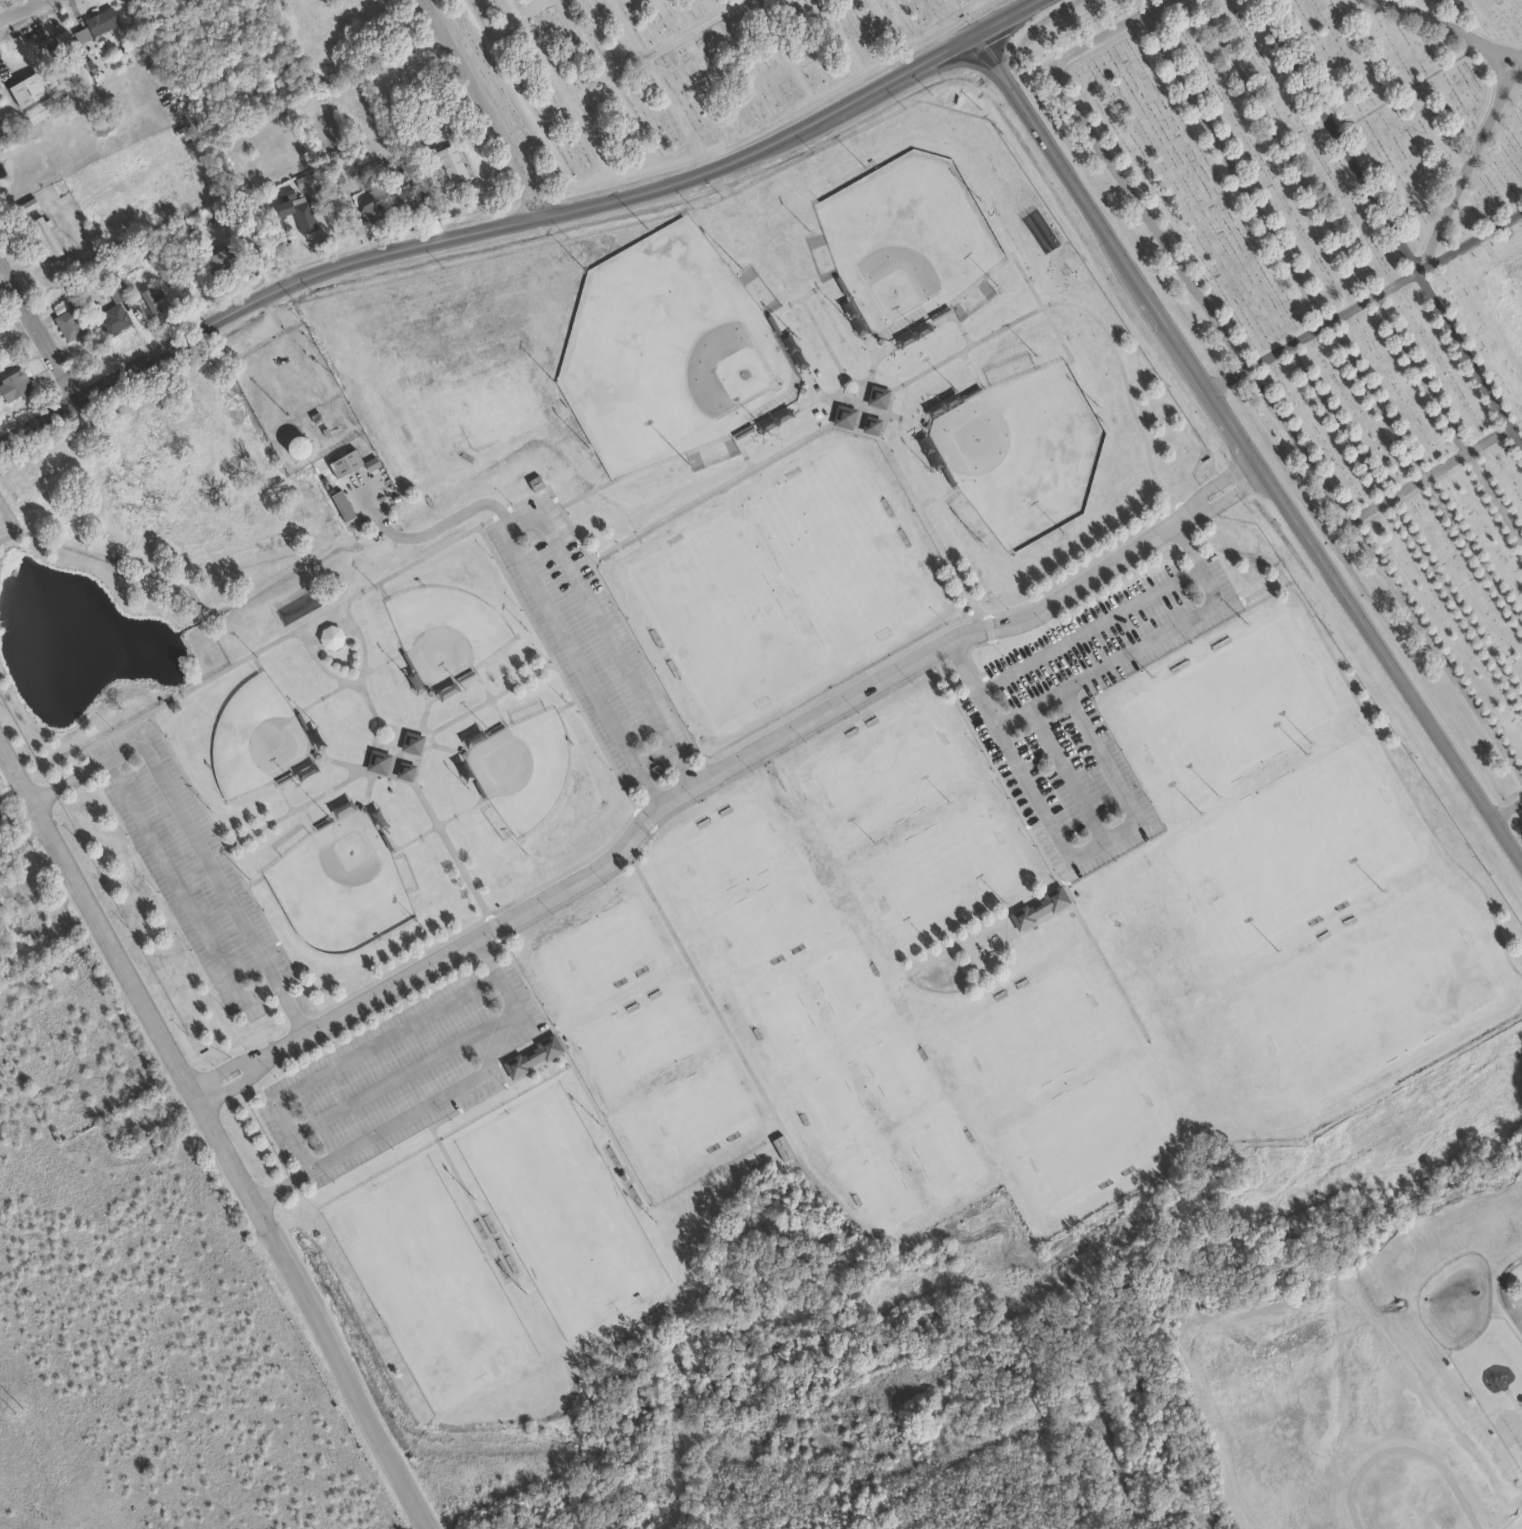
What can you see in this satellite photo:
road: (1432, 7)
road: (512, 8)
road: (21, 10)
building: (97, 20)
road: (1442, 24)
road: (495, 29)
road: (624, 29)
road: (917, 37)
building: (62, 44)
building: (48, 54)
road: (1494, 61)
park: (669, 72)
building: (29, 85)
road: (592, 87)
road: (808, 91)
road: (1399, 92)
road: (616, 102)
road: (481, 107)
building: (38, 111)
road: (574, 114)
building: (96, 120)
road: (1335, 136)
building: (2, 141)
road: (208, 142)
road: (1283, 148)
road: (706, 150)
building: (450, 162)
road: (558, 166)
road: (1232, 168)
road: (1464, 174)
building: (402, 197)
building: (370, 209)
building: (301, 216)
road: (516, 221)
building: (44, 235)
park: (905, 239)
road: (1469, 242)
building: (214, 259)
park: (1342, 282)
road: (1393, 285)
road: (815, 288)
building: (151, 297)
road: (1039, 304)
road: (1347, 310)
building: (112, 313)
building: (65, 317)
road: (813, 324)
road: (959, 328)
road: (38, 333)
road: (1305, 333)
park: (668, 351)
road: (1265, 356)
road: (1248, 372)
road: (972, 374)
road: (1225, 377)
building: (12, 384)
road: (891, 388)
road: (1126, 391)
road: (820, 396)
building: (876, 397)
road: (861, 407)
road: (859, 409)
road: (883, 413)
building: (843, 416)
building: (869, 424)
building: (294, 446)
road: (1245, 450)
park: (1021, 451)
road: (776, 454)
building: (342, 463)
building: (369, 463)
road: (1444, 464)
road: (1473, 464)
road: (1215, 482)
road: (584, 492)
road: (1226, 496)
road: (931, 498)
road: (1394, 507)
road: (1368, 508)
road: (536, 512)
road: (672, 513)
road: (926, 525)
road: (476, 526)
road: (1187, 543)
park: (838, 553)
road: (380, 589)
road: (347, 613)
park: (720, 620)
park: (444, 633)
parking lot: (587, 634)
building: (328, 635)
road: (255, 650)
road: (253, 660)
road: (520, 680)
road: (353, 683)
road: (1064, 688)
road: (488, 698)
road: (367, 703)
road: (568, 703)
park: (1231, 707)
parking lot: (1085, 713)
road: (422, 714)
road: (1013, 715)
road: (456, 717)
road: (400, 728)
road: (114, 730)
park: (256, 739)
building: (409, 741)
road: (438, 747)
road: (393, 751)
road: (392, 756)
building: (378, 761)
road: (346, 763)
road: (678, 763)
road: (721, 765)
park: (521, 768)
park: (886, 770)
road: (1106, 770)
road: (1401, 780)
road: (186, 781)
road: (647, 783)
road: (367, 784)
road: (284, 799)
road: (1506, 807)
road: (291, 809)
road: (307, 815)
building: (375, 819)
road: (436, 824)
road: (191, 833)
road: (447, 845)
park: (731, 849)
park: (1291, 850)
road: (1039, 852)
parking lot: (189, 868)
road: (236, 868)
park: (942, 870)
park: (339, 884)
road: (183, 895)
building: (1036, 910)
building: (17, 913)
road: (485, 916)
park: (768, 920)
road: (981, 928)
park: (612, 942)
park: (843, 981)
park: (1369, 990)
park: (781, 1015)
park: (661, 1032)
park: (1035, 1032)
road: (731, 1039)
road: (1460, 1043)
building: (530, 1055)
road: (547, 1060)
road: (231, 1064)
park: (891, 1067)
parking lot: (403, 1069)
road: (404, 1071)
road: (239, 1078)
park: (831, 1102)
park: (703, 1107)
road: (605, 1126)
park: (1089, 1132)
road: (215, 1137)
road: (297, 1144)
building: (779, 1146)
park: (938, 1150)
road: (280, 1184)
park: (878, 1185)
park: (561, 1209)
park: (429, 1283)
road: (1499, 1287)
building: (1495, 1375)

